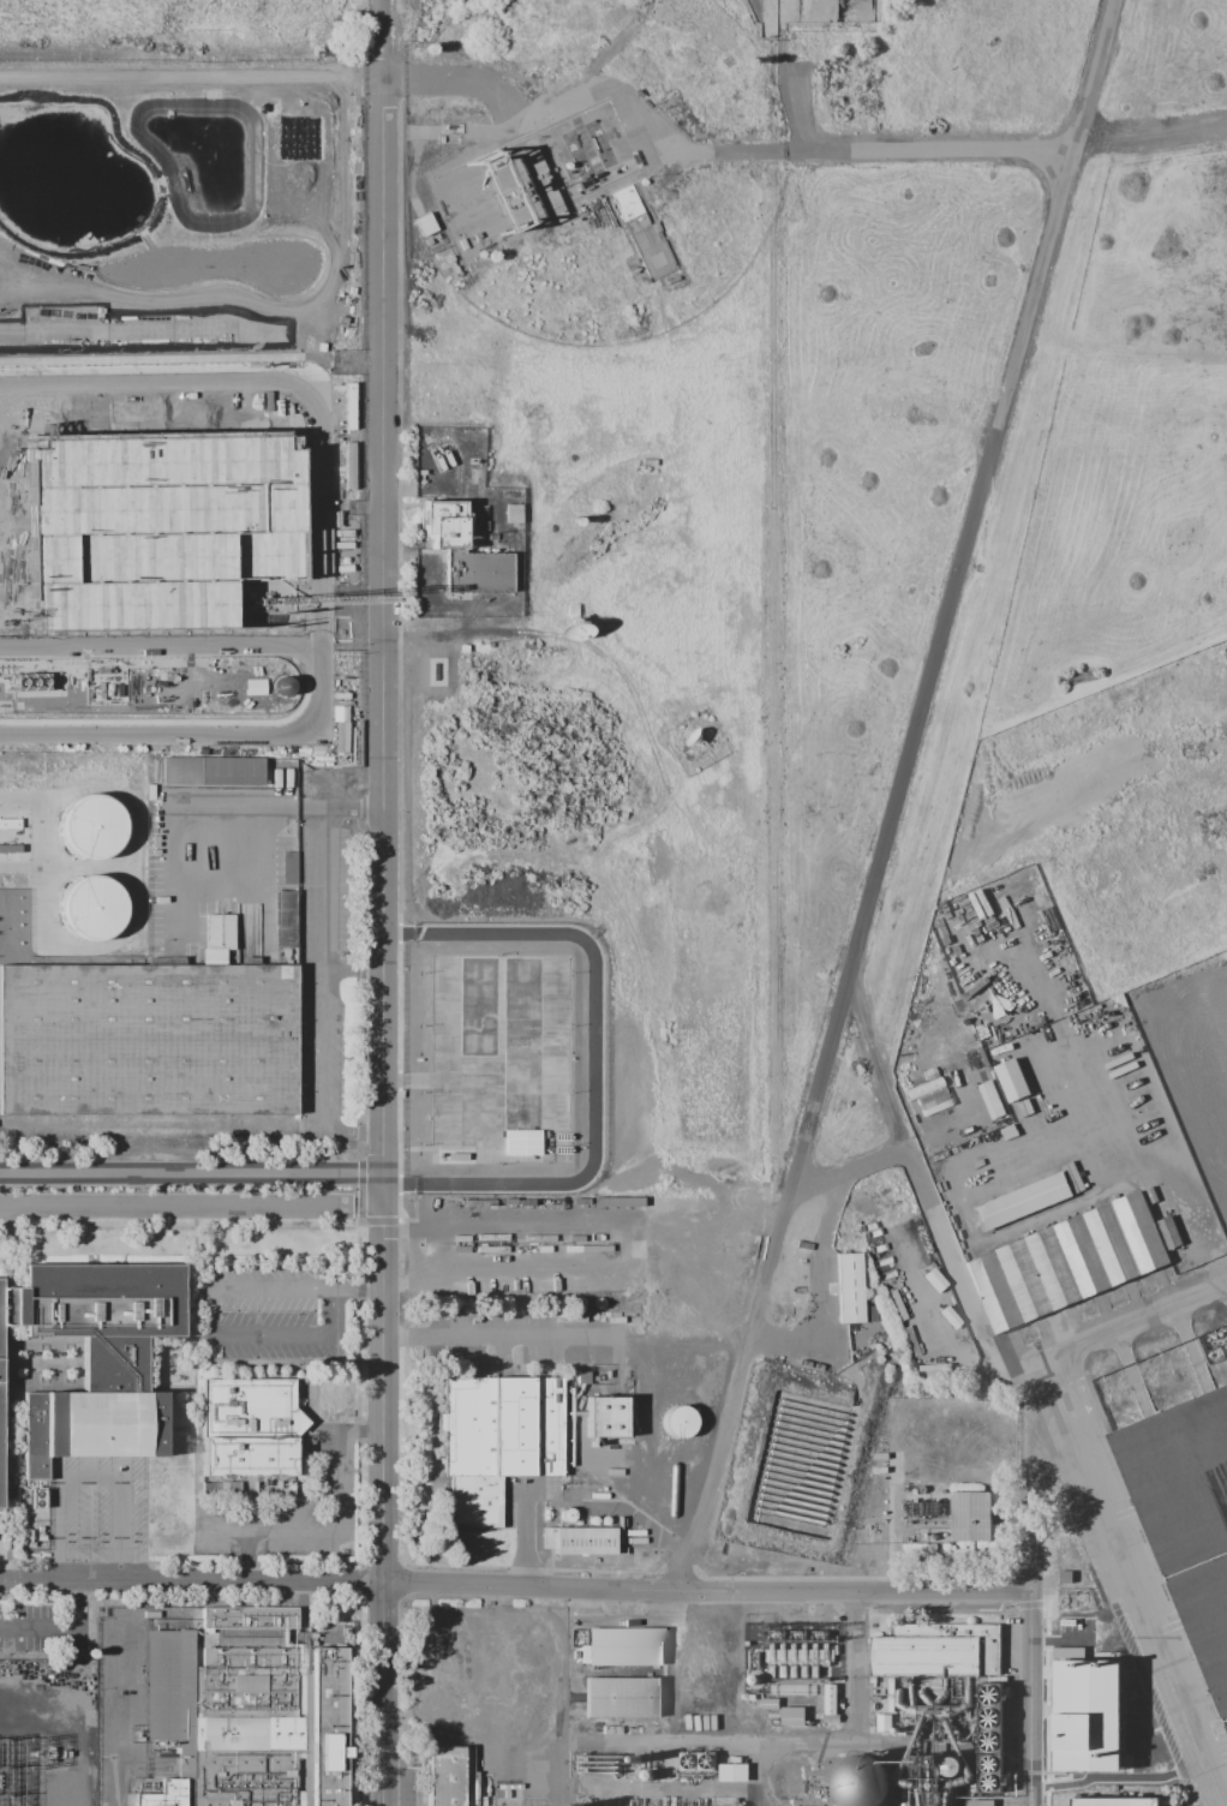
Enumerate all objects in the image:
road: (384, 41)
road: (192, 83)
road: (1150, 138)
building: (591, 150)
road: (706, 155)
building: (425, 225)
building: (646, 231)
building: (222, 251)
building: (115, 253)
building: (42, 255)
building: (10, 256)
building: (217, 315)
building: (5, 316)
building: (150, 316)
road: (187, 379)
road: (16, 476)
road: (309, 495)
building: (513, 513)
building: (149, 526)
parking garage: (149, 526)
building: (462, 549)
road: (310, 586)
road: (321, 594)
road: (160, 645)
road: (160, 734)
building: (211, 770)
road: (899, 799)
building: (92, 825)
storage tank: (92, 825)
building: (288, 867)
building: (91, 908)
storage tank: (91, 908)
road: (385, 944)
road: (358, 970)
road: (328, 973)
building: (148, 1042)
road: (878, 1076)
building: (1011, 1080)
building: (922, 1087)
building: (989, 1098)
road: (193, 1176)
building: (1023, 1192)
road: (193, 1208)
building: (1168, 1230)
building: (1066, 1255)
road: (359, 1287)
building: (848, 1287)
road: (273, 1290)
road: (334, 1311)
road: (213, 1314)
parking lot: (270, 1315)
road: (1130, 1334)
road: (274, 1335)
road: (569, 1339)
road: (994, 1350)
building: (103, 1364)
building: (2, 1418)
building: (604, 1418)
building: (677, 1423)
storage tank: (677, 1423)
building: (250, 1430)
building: (499, 1442)
building: (802, 1455)
storage tank: (802, 1455)
road: (91, 1475)
building: (35, 1494)
building: (975, 1511)
parking lot: (287, 1513)
parking lot: (98, 1514)
building: (1184, 1514)
road: (335, 1525)
road: (59, 1529)
road: (122, 1529)
building: (582, 1543)
road: (516, 1589)
road: (1033, 1599)
building: (627, 1649)
building: (939, 1652)
road: (719, 1685)
building: (626, 1699)
building: (768, 1703)
building: (828, 1703)
road: (114, 1710)
building: (250, 1714)
building: (791, 1715)
building: (1084, 1716)
power substation: (50, 1734)
building: (989, 1740)
road: (848, 1744)
building: (453, 1778)
building: (861, 1783)
storage tank: (861, 1783)
building: (940, 1788)
building: (1113, 1796)
building: (981, 1805)

